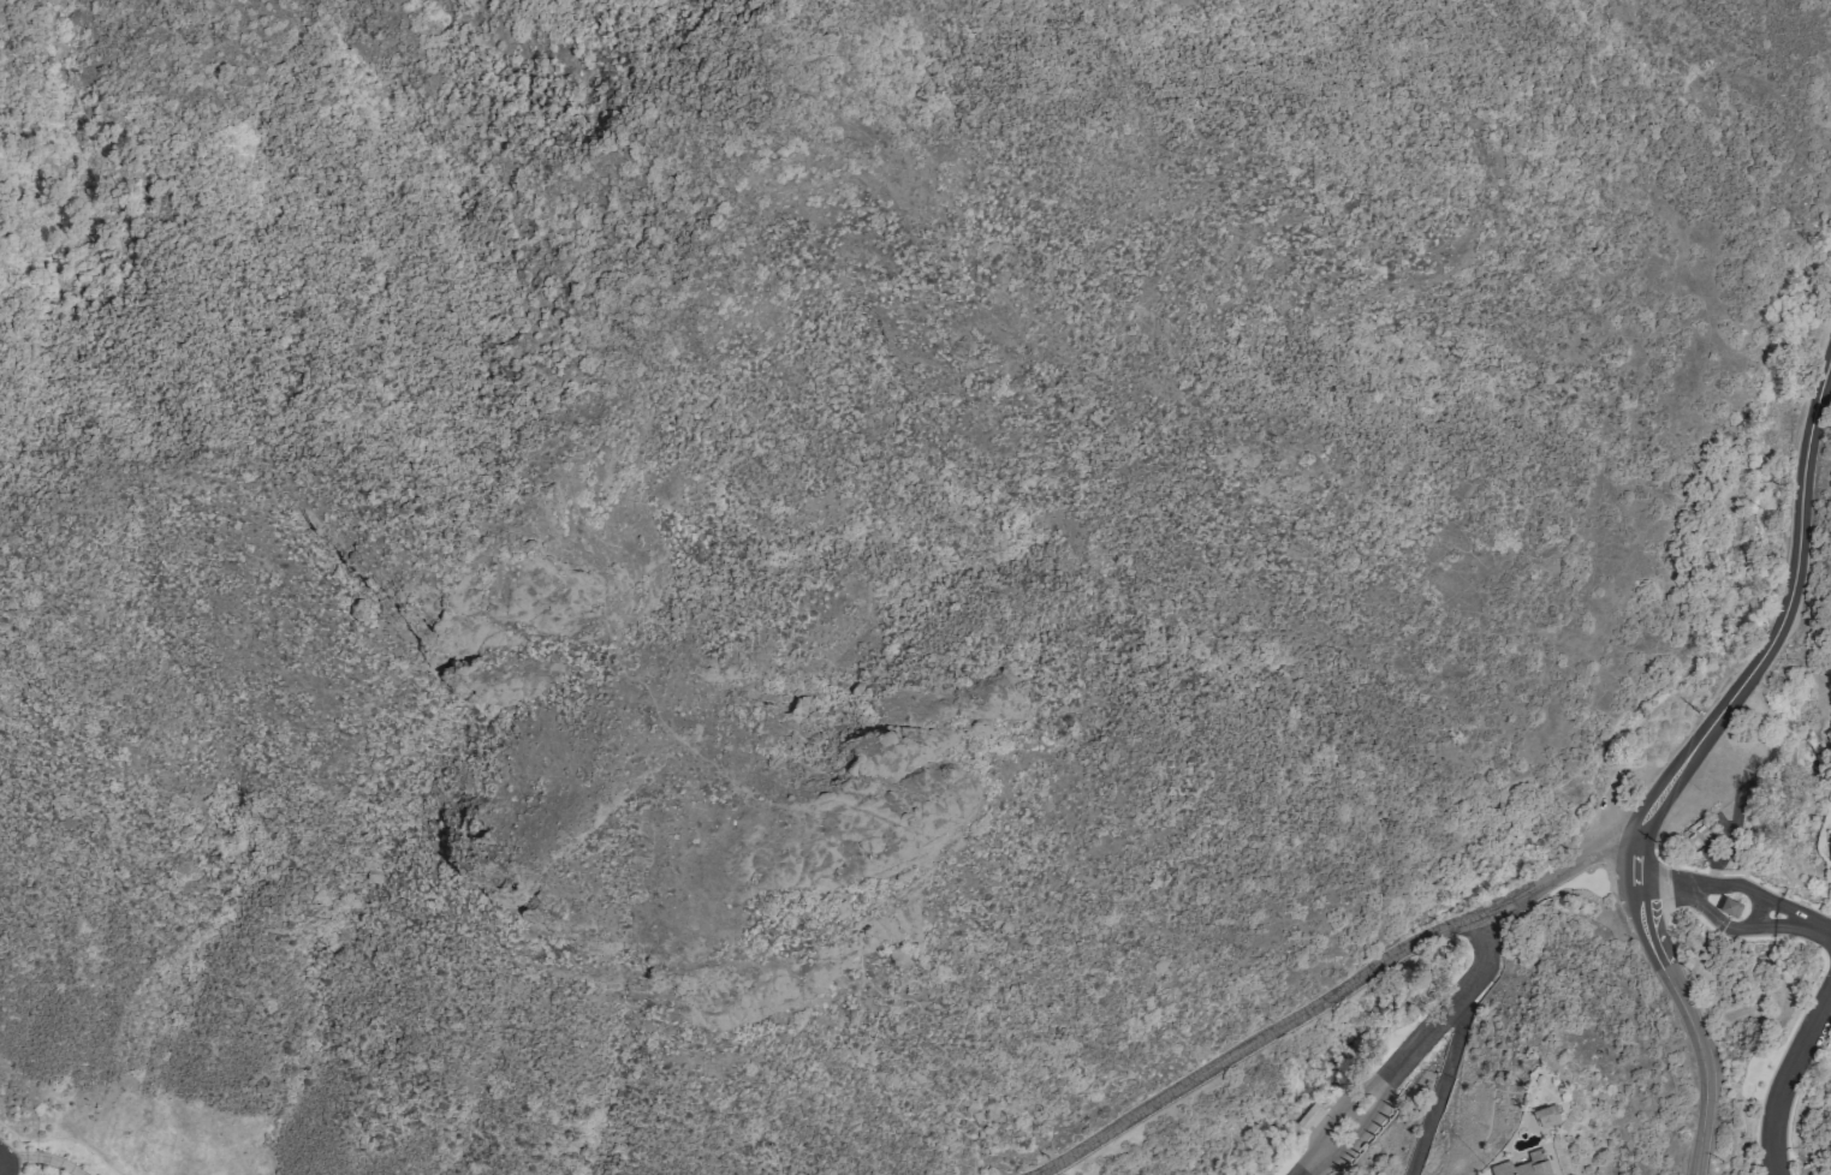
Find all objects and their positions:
road: (1788, 609)
road: (1622, 837)
building: (1830, 845)
road: (1640, 855)
road: (1708, 897)
building: (1731, 906)
road: (1805, 928)
road: (1314, 1006)
road: (1692, 1027)
road: (1435, 1030)
road: (1455, 1044)
road: (1788, 1079)
building: (1312, 1116)
building: (1548, 1116)
road: (1428, 1126)
road: (1321, 1151)
building: (1526, 1165)

